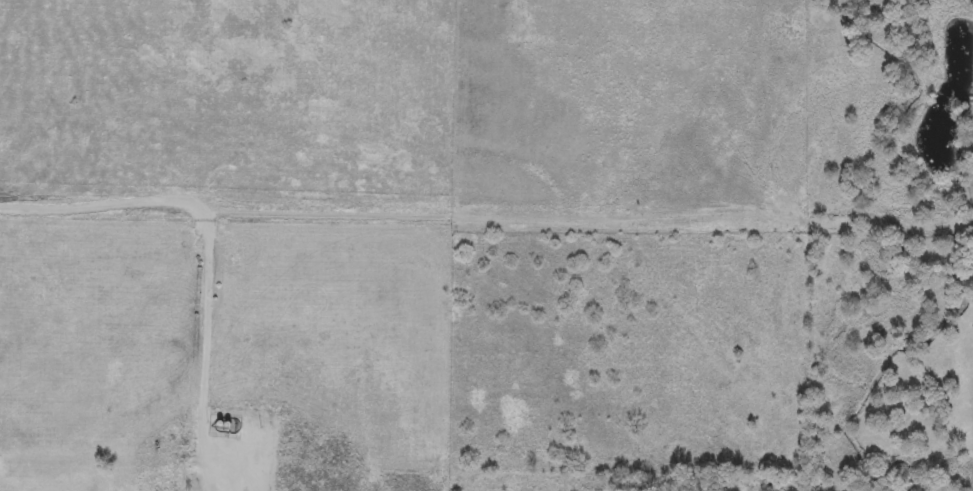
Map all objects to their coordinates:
road: (200, 215)

